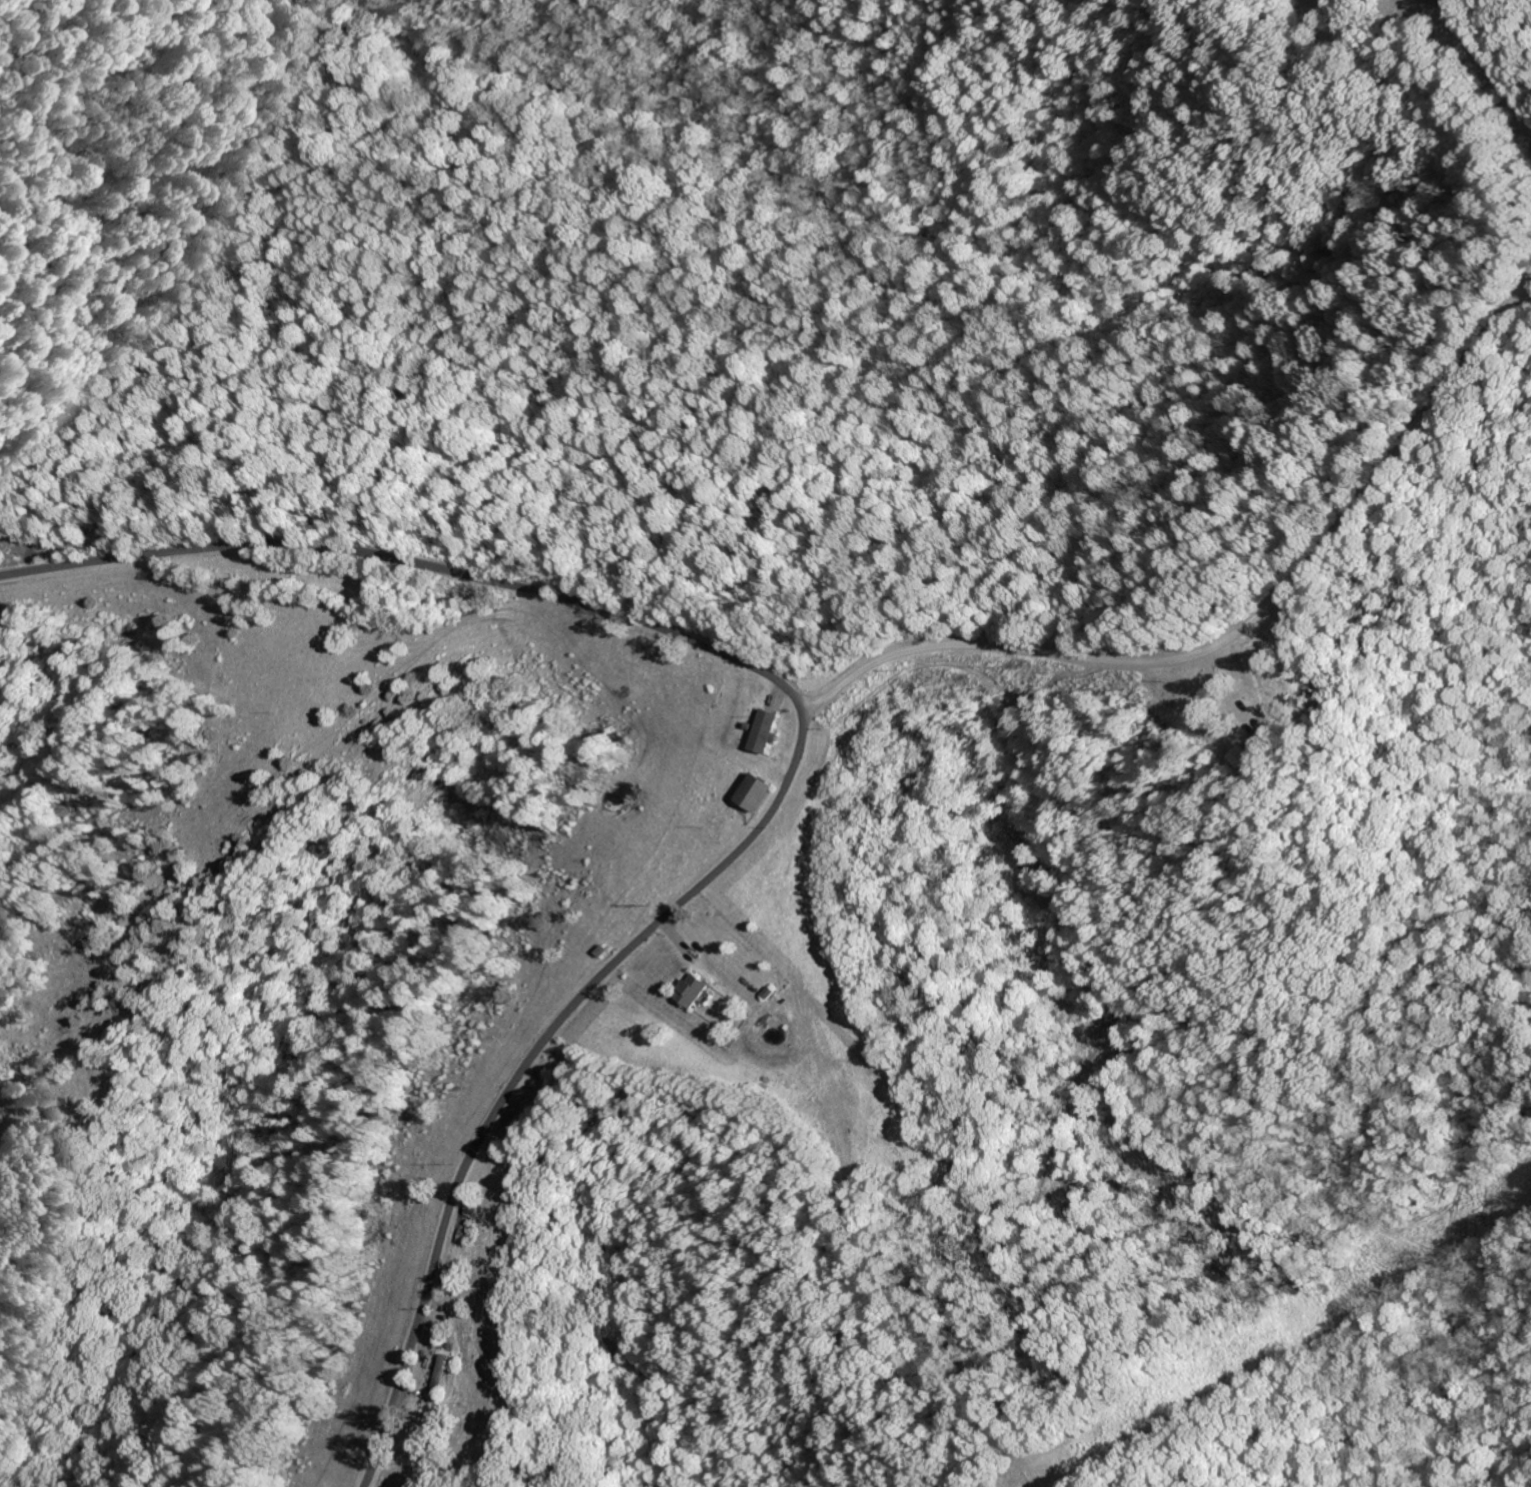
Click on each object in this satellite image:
road: (1488, 66)
road: (418, 564)
road: (1238, 634)
building: (761, 733)
building: (1240, 758)
building: (750, 795)
building: (691, 992)
road: (529, 1063)
building: (442, 1376)

